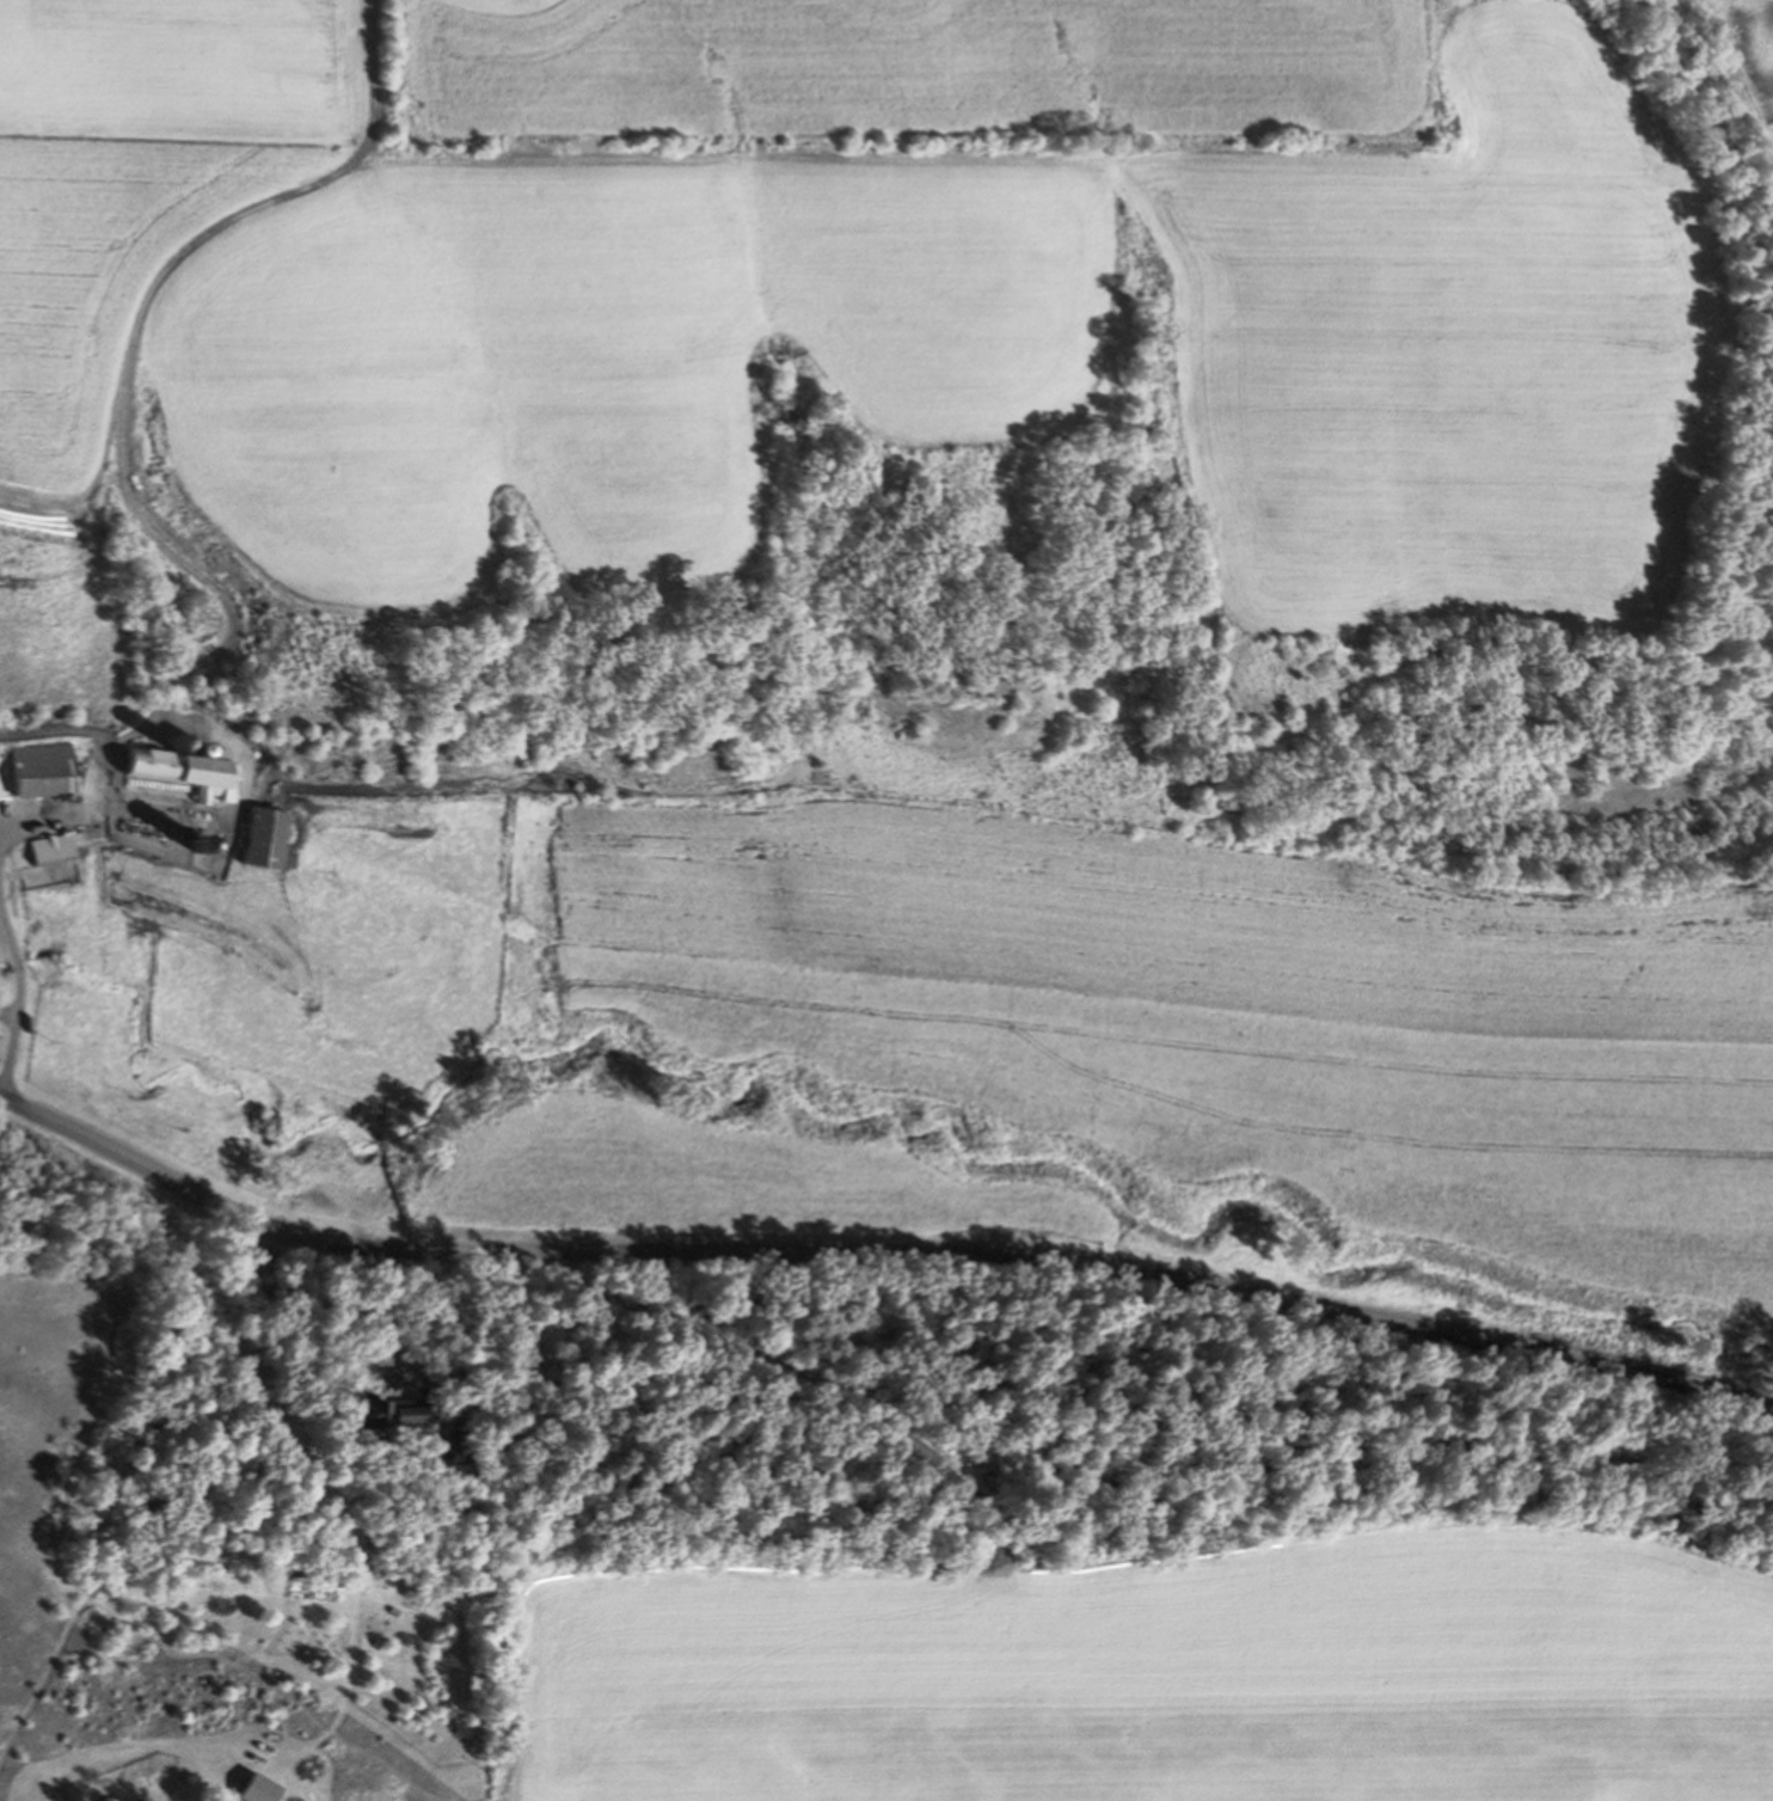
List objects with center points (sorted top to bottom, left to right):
road: (124, 382)
building: (188, 771)
building: (48, 774)
road: (53, 815)
building: (270, 844)
building: (54, 856)
building: (0, 986)
road: (20, 996)
building: (1, 1000)
road: (879, 1250)
road: (330, 1291)
road: (783, 1368)
building: (391, 1417)
building: (260, 1789)

